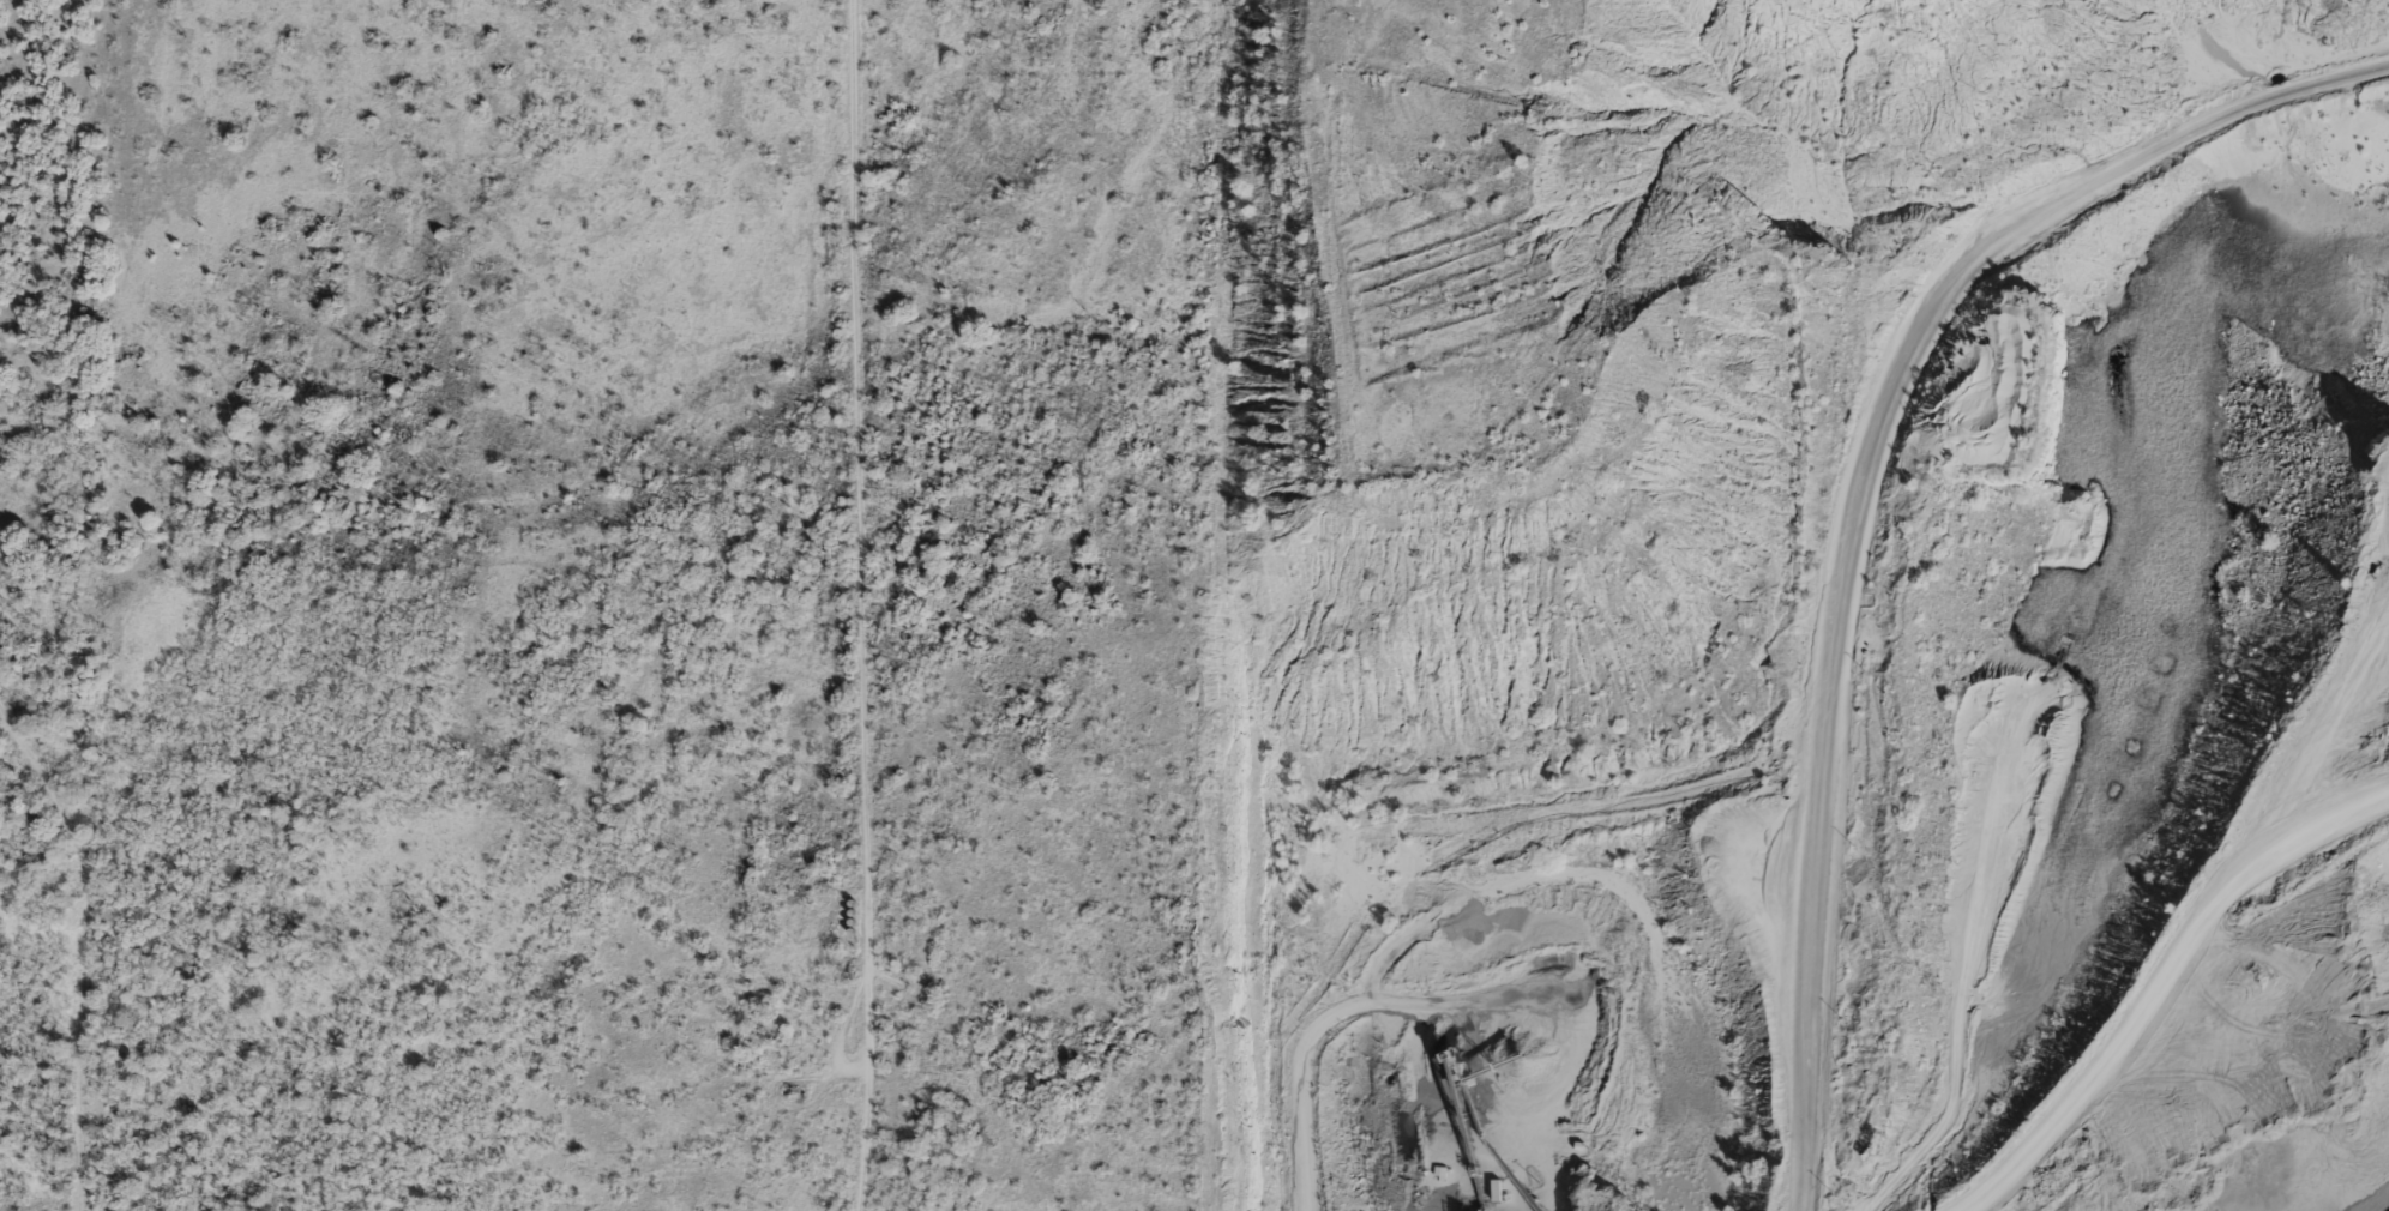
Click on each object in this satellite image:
road: (837, 605)
quarry: (1816, 607)
road: (76, 981)

